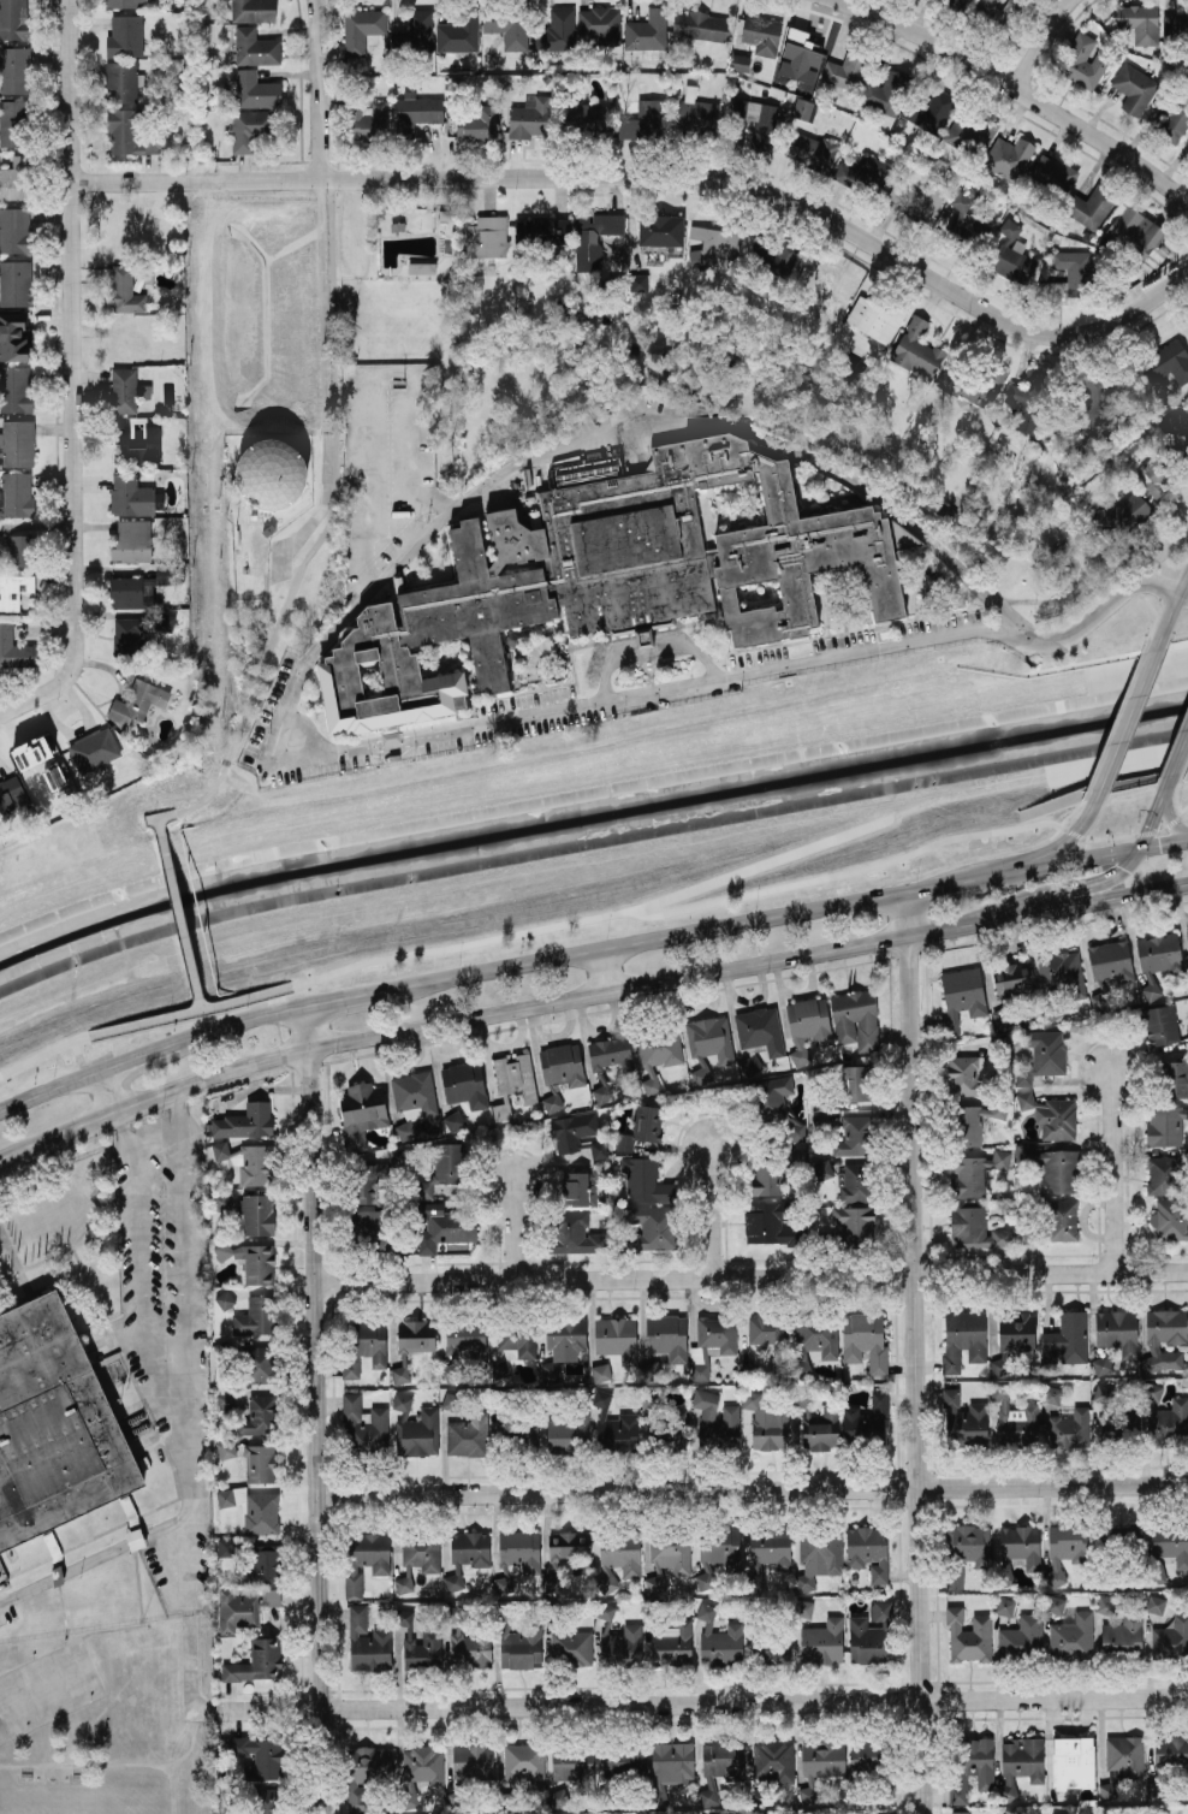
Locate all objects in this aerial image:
building: (120, 4)
building: (955, 4)
building: (253, 10)
building: (994, 11)
building: (13, 19)
building: (1139, 22)
building: (599, 25)
building: (700, 25)
building: (361, 28)
building: (507, 28)
building: (556, 30)
building: (458, 31)
building: (414, 32)
building: (647, 34)
building: (761, 34)
building: (125, 35)
road: (1038, 42)
building: (255, 47)
building: (798, 57)
building: (739, 61)
building: (1082, 61)
building: (14, 69)
building: (844, 70)
building: (121, 81)
road: (315, 88)
building: (1134, 88)
building: (254, 89)
building: (886, 91)
road: (1020, 91)
building: (802, 108)
building: (695, 111)
building: (929, 111)
building: (417, 112)
building: (529, 117)
building: (580, 117)
building: (369, 120)
building: (643, 120)
building: (758, 121)
building: (1174, 121)
building: (12, 123)
building: (476, 123)
building: (250, 128)
building: (972, 132)
building: (133, 134)
building: (1187, 136)
building: (812, 149)
building: (1008, 156)
building: (1053, 173)
building: (863, 174)
road: (655, 176)
building: (14, 178)
building: (919, 197)
building: (1089, 206)
building: (960, 214)
building: (397, 225)
building: (14, 230)
building: (659, 230)
building: (1135, 230)
building: (542, 231)
building: (486, 237)
building: (715, 245)
building: (1011, 254)
building: (587, 255)
building: (774, 257)
building: (421, 268)
building: (1068, 274)
building: (16, 283)
building: (125, 290)
building: (875, 318)
building: (13, 337)
building: (916, 349)
building: (1168, 362)
road: (73, 372)
road: (320, 378)
road: (361, 384)
building: (973, 384)
building: (14, 389)
building: (126, 390)
building: (1028, 399)
building: (1095, 399)
building: (1172, 425)
building: (17, 443)
building: (135, 444)
building: (587, 466)
building: (269, 473)
storage tank: (269, 473)
building: (1158, 473)
building: (16, 493)
building: (130, 494)
building: (1125, 514)
road: (333, 517)
building: (902, 534)
building: (131, 540)
building: (19, 549)
road: (1160, 556)
building: (607, 576)
road: (1163, 586)
building: (13, 589)
building: (135, 591)
road: (1146, 603)
road: (1169, 605)
road: (1095, 613)
building: (165, 622)
building: (126, 636)
road: (647, 646)
building: (14, 648)
road: (298, 672)
building: (137, 701)
road: (4, 710)
road: (1127, 717)
building: (94, 748)
road: (1177, 754)
building: (38, 765)
road: (1165, 783)
building: (11, 794)
road: (159, 816)
road: (1148, 818)
road: (1169, 822)
park: (594, 832)
river: (589, 835)
road: (1065, 841)
road: (1160, 842)
traffic signals: (1134, 848)
road: (1073, 858)
road: (765, 864)
road: (996, 872)
road: (938, 884)
road: (1067, 888)
road: (744, 894)
road: (1088, 897)
road: (179, 914)
building: (1187, 931)
road: (637, 942)
building: (1156, 959)
building: (1111, 960)
road: (599, 971)
building: (1062, 972)
building: (1012, 979)
building: (962, 992)
road: (339, 998)
road: (200, 1002)
road: (273, 1008)
road: (190, 1010)
road: (487, 1012)
building: (855, 1019)
road: (238, 1021)
building: (1160, 1024)
building: (807, 1025)
building: (759, 1030)
building: (709, 1038)
road: (42, 1053)
building: (610, 1053)
building: (657, 1054)
building: (1041, 1054)
road: (141, 1055)
road: (83, 1062)
building: (562, 1063)
building: (701, 1072)
building: (963, 1073)
building: (1175, 1078)
building: (462, 1081)
building: (512, 1081)
building: (855, 1081)
road: (51, 1089)
road: (109, 1090)
building: (776, 1095)
building: (412, 1098)
building: (551, 1103)
building: (361, 1113)
building: (1051, 1115)
building: (453, 1120)
building: (244, 1121)
building: (969, 1125)
building: (641, 1126)
building: (796, 1130)
building: (571, 1131)
building: (853, 1136)
building: (598, 1148)
building: (220, 1149)
building: (797, 1156)
building: (254, 1164)
building: (442, 1167)
building: (821, 1168)
building: (1053, 1168)
road: (1110, 1170)
building: (975, 1172)
building: (1164, 1174)
building: (767, 1176)
building: (646, 1180)
building: (367, 1182)
building: (855, 1182)
building: (583, 1184)
building: (221, 1201)
road: (711, 1210)
building: (255, 1213)
road: (178, 1214)
building: (1062, 1219)
building: (1170, 1219)
building: (768, 1221)
building: (855, 1225)
building: (445, 1226)
building: (975, 1226)
building: (369, 1227)
building: (653, 1227)
road: (513, 1231)
building: (574, 1233)
road: (67, 1249)
building: (250, 1261)
road: (13, 1269)
road: (137, 1271)
road: (748, 1276)
building: (224, 1299)
building: (254, 1316)
building: (1117, 1330)
building: (818, 1334)
building: (666, 1335)
building: (768, 1335)
building: (565, 1336)
road: (162, 1338)
building: (616, 1338)
building: (963, 1338)
building: (1014, 1338)
building: (1164, 1338)
building: (467, 1339)
building: (865, 1339)
building: (1065, 1339)
building: (517, 1340)
building: (711, 1342)
building: (411, 1344)
building: (363, 1346)
road: (917, 1353)
building: (260, 1364)
building: (1101, 1364)
building: (499, 1368)
building: (651, 1370)
building: (451, 1371)
building: (600, 1371)
road: (178, 1385)
building: (1151, 1391)
building: (1103, 1393)
building: (1051, 1395)
building: (224, 1399)
road: (311, 1410)
building: (731, 1412)
building: (259, 1416)
building: (866, 1418)
building: (964, 1419)
building: (1014, 1421)
building: (766, 1422)
building: (1171, 1422)
building: (53, 1424)
building: (362, 1424)
building: (1118, 1425)
building: (614, 1427)
building: (415, 1428)
building: (821, 1429)
building: (1069, 1429)
building: (678, 1430)
building: (566, 1431)
building: (525, 1433)
building: (467, 1435)
building: (226, 1448)
building: (260, 1463)
road: (750, 1489)
building: (253, 1508)
building: (968, 1542)
building: (1021, 1543)
building: (1170, 1543)
building: (224, 1546)
building: (569, 1546)
building: (1064, 1548)
building: (420, 1549)
building: (717, 1551)
building: (768, 1551)
building: (867, 1551)
building: (467, 1554)
building: (517, 1555)
building: (818, 1555)
road: (93, 1557)
building: (667, 1557)
building: (364, 1559)
building: (618, 1559)
building: (266, 1563)
building: (1004, 1570)
building: (245, 1572)
building: (954, 1577)
road: (186, 1581)
building: (402, 1584)
building: (271, 1595)
building: (1055, 1603)
building: (1105, 1603)
building: (1154, 1603)
building: (1004, 1605)
building: (803, 1607)
building: (236, 1610)
building: (606, 1610)
building: (451, 1613)
building: (1123, 1632)
building: (430, 1635)
building: (871, 1635)
building: (968, 1636)
building: (1021, 1636)
building: (1071, 1637)
building: (718, 1638)
building: (1171, 1638)
building: (822, 1641)
building: (367, 1642)
building: (672, 1643)
building: (623, 1644)
building: (571, 1646)
building: (522, 1647)
building: (774, 1647)
building: (471, 1649)
building: (256, 1661)
road: (700, 1702)
building: (1170, 1748)
building: (865, 1753)
building: (1124, 1755)
building: (260, 1756)
building: (623, 1760)
building: (773, 1760)
building: (1021, 1760)
building: (471, 1761)
road: (115, 1762)
building: (1073, 1762)
building: (524, 1763)
building: (571, 1763)
building: (820, 1763)
building: (972, 1765)
building: (670, 1766)
building: (719, 1767)
building: (418, 1769)
building: (366, 1772)
road: (172, 1788)
building: (557, 1797)
park: (73, 1800)
building: (266, 1800)
building: (960, 1812)
building: (1055, 1813)

